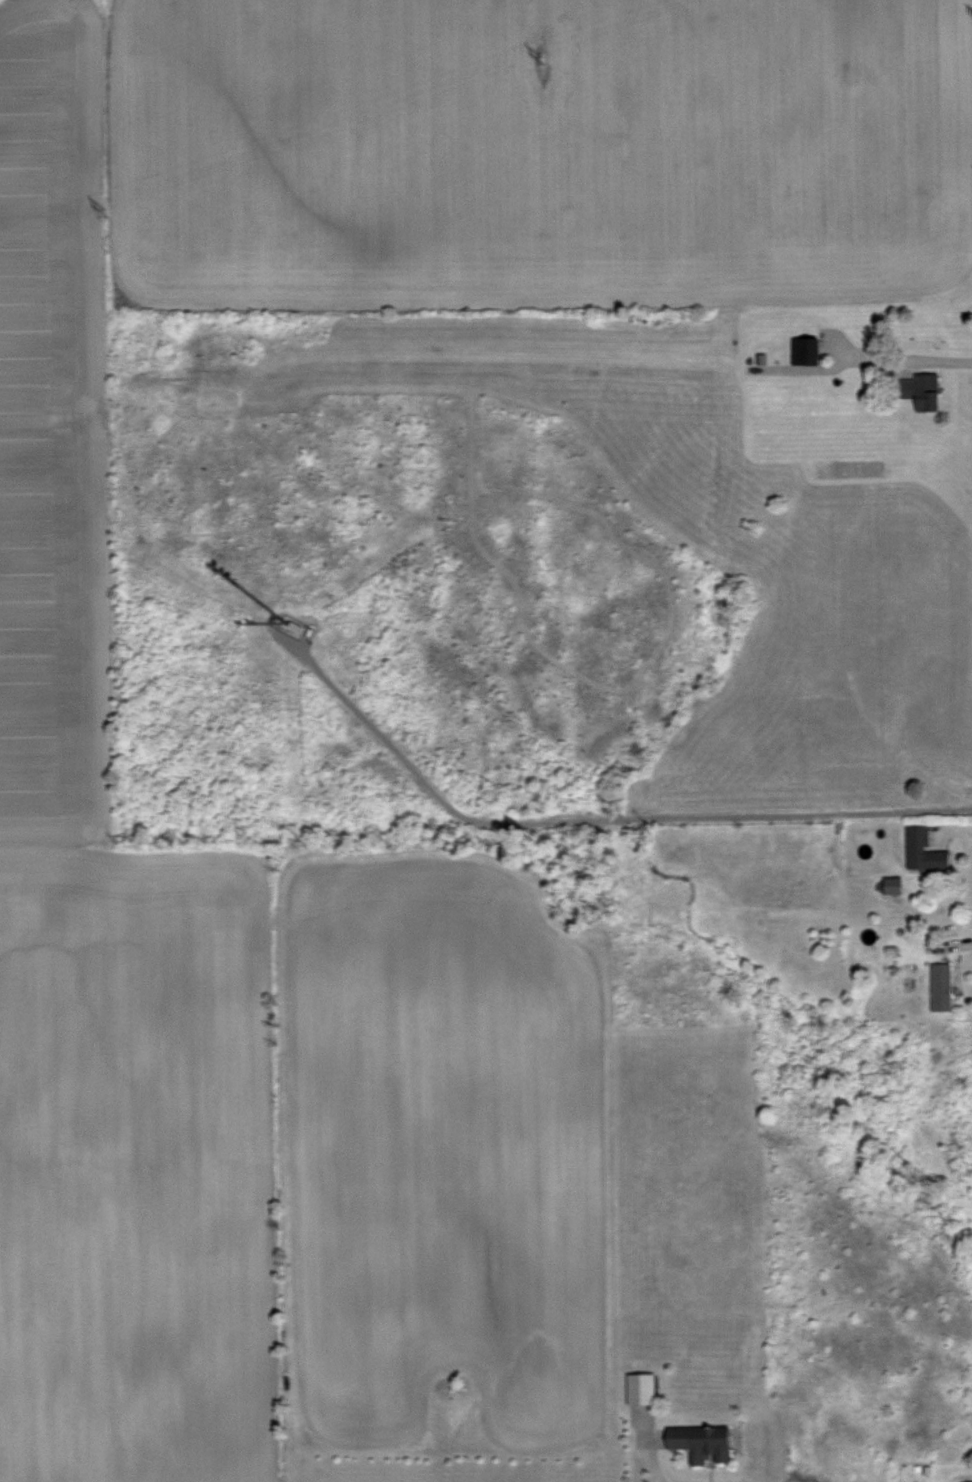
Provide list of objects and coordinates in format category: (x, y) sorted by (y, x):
building: (804, 352)
road: (937, 360)
building: (927, 393)
road: (587, 823)
building: (924, 851)
building: (892, 886)
building: (941, 987)
building: (641, 1389)
building: (701, 1444)
road: (647, 1459)

